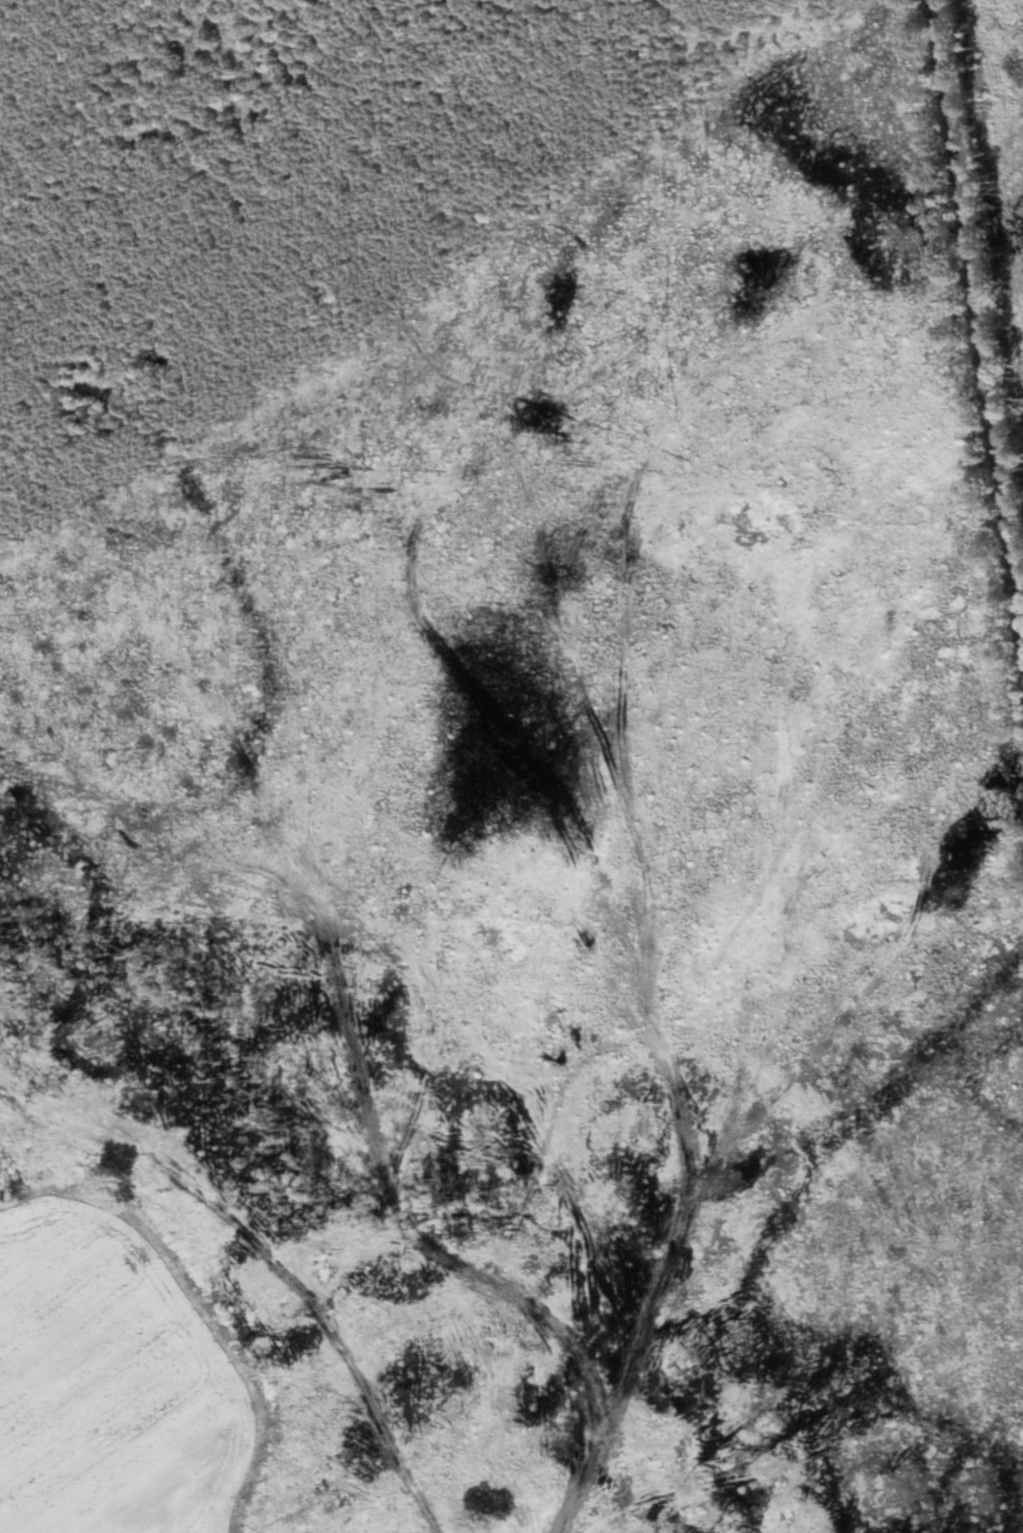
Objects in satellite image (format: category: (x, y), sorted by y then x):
railway: (977, 328)

